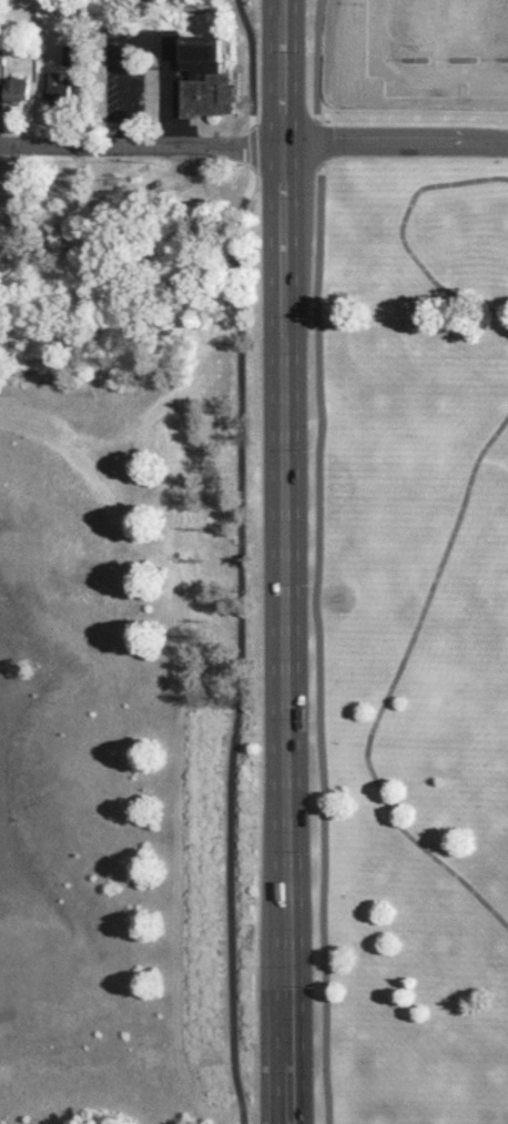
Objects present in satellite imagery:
crop: (476, 43)
building: (205, 78)
building: (17, 89)
building: (55, 89)
road: (395, 144)
road: (141, 149)
road: (403, 240)
road: (240, 560)
road: (284, 561)
road: (317, 561)
road: (392, 690)

